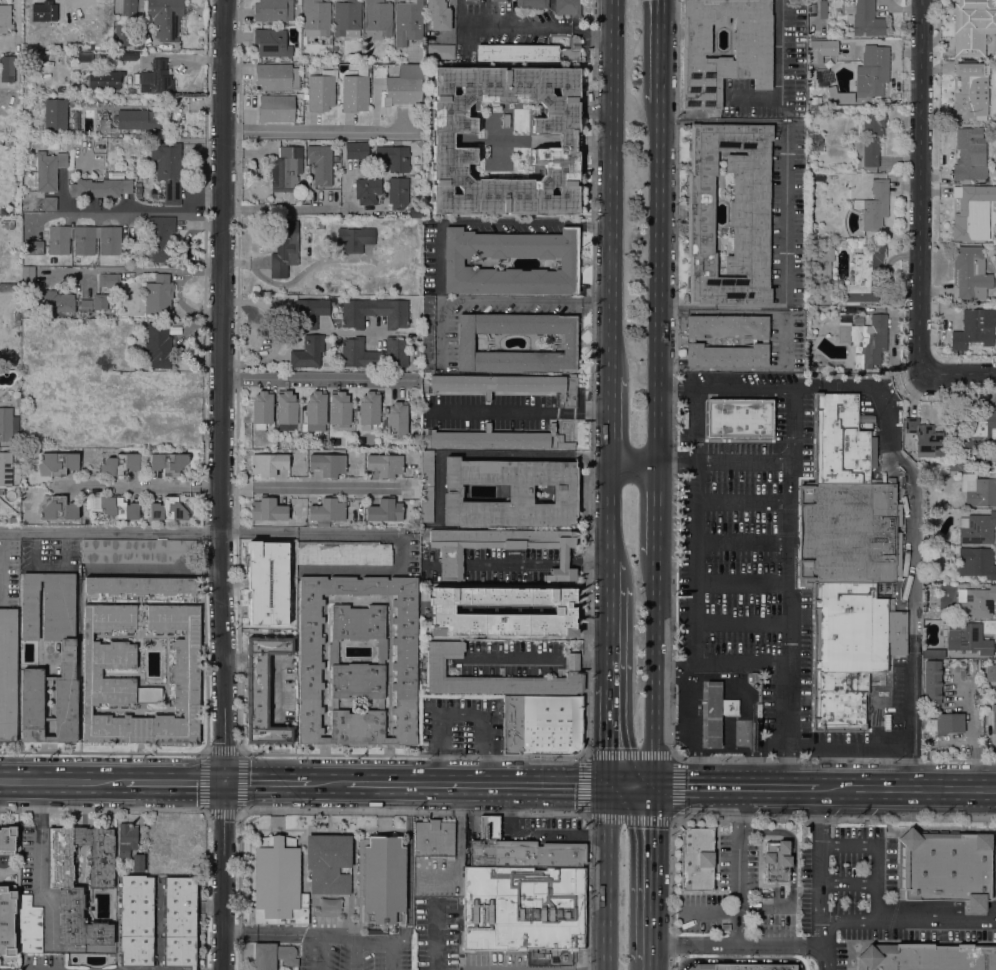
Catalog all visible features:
building: (128, 7)
building: (273, 10)
building: (49, 13)
building: (438, 15)
building: (165, 18)
building: (5, 19)
building: (347, 19)
building: (377, 19)
building: (315, 20)
building: (865, 20)
building: (408, 21)
building: (972, 26)
road: (528, 29)
building: (523, 32)
road: (602, 32)
building: (122, 35)
building: (137, 43)
building: (271, 43)
building: (827, 46)
building: (70, 47)
building: (334, 48)
road: (659, 50)
building: (440, 51)
building: (124, 56)
building: (84, 57)
building: (752, 57)
building: (9, 67)
building: (811, 67)
parking lot: (775, 70)
building: (871, 71)
road: (777, 75)
building: (276, 77)
building: (156, 78)
building: (104, 79)
building: (75, 87)
building: (403, 89)
building: (130, 91)
building: (321, 91)
building: (355, 91)
building: (970, 91)
building: (838, 98)
building: (275, 109)
building: (55, 115)
building: (137, 119)
road: (723, 121)
building: (104, 127)
road: (323, 132)
building: (871, 136)
building: (442, 140)
building: (814, 141)
building: (64, 144)
building: (356, 150)
building: (969, 155)
building: (394, 157)
building: (320, 164)
building: (168, 169)
building: (286, 169)
building: (48, 170)
building: (818, 177)
building: (100, 188)
road: (612, 188)
road: (922, 188)
building: (367, 190)
building: (50, 193)
building: (397, 193)
building: (49, 203)
building: (875, 206)
road: (300, 210)
road: (712, 210)
building: (414, 212)
building: (687, 213)
road: (694, 213)
building: (748, 213)
parking lot: (786, 213)
building: (973, 213)
road: (786, 214)
road: (130, 215)
road: (204, 222)
road: (492, 222)
building: (354, 239)
building: (83, 240)
building: (160, 240)
building: (32, 247)
building: (284, 248)
building: (16, 251)
building: (453, 262)
building: (823, 263)
road: (135, 270)
building: (971, 273)
building: (865, 274)
building: (27, 277)
building: (109, 280)
road: (658, 281)
building: (7, 287)
building: (158, 295)
building: (55, 300)
building: (93, 303)
road: (721, 306)
road: (184, 308)
building: (310, 312)
building: (374, 312)
road: (721, 313)
building: (16, 316)
building: (858, 321)
building: (16, 323)
building: (686, 325)
building: (726, 326)
building: (974, 329)
building: (427, 333)
building: (866, 339)
building: (690, 341)
road: (691, 341)
road: (707, 341)
road: (753, 341)
building: (764, 341)
parking lot: (784, 341)
road: (785, 341)
building: (465, 342)
building: (158, 345)
building: (308, 352)
building: (374, 353)
building: (726, 355)
building: (766, 356)
road: (720, 369)
road: (959, 377)
road: (320, 381)
building: (498, 384)
road: (805, 386)
road: (724, 390)
building: (570, 391)
building: (575, 393)
building: (816, 402)
building: (262, 407)
building: (286, 408)
building: (315, 408)
building: (339, 408)
building: (369, 408)
parking lot: (498, 411)
road: (518, 412)
building: (396, 418)
road: (610, 418)
building: (732, 418)
building: (764, 418)
building: (8, 425)
road: (794, 427)
building: (978, 429)
road: (677, 437)
building: (494, 438)
road: (691, 438)
building: (925, 438)
road: (738, 441)
road: (793, 441)
road: (815, 441)
building: (843, 441)
building: (574, 444)
building: (564, 445)
road: (731, 447)
building: (816, 447)
road: (633, 461)
road: (723, 462)
building: (57, 463)
building: (168, 463)
building: (119, 464)
building: (268, 464)
building: (328, 464)
building: (385, 465)
building: (957, 466)
building: (5, 468)
building: (902, 479)
road: (225, 485)
road: (140, 486)
building: (426, 486)
road: (313, 487)
building: (978, 490)
building: (2, 491)
building: (509, 493)
road: (743, 501)
building: (115, 507)
road: (656, 508)
building: (59, 509)
building: (267, 509)
building: (167, 510)
building: (327, 510)
building: (384, 511)
road: (787, 511)
building: (13, 520)
road: (609, 523)
road: (912, 524)
road: (696, 526)
building: (977, 528)
road: (201, 531)
building: (800, 531)
building: (808, 533)
road: (786, 534)
road: (674, 538)
road: (743, 541)
building: (137, 551)
building: (342, 553)
building: (451, 558)
building: (976, 562)
parking lot: (755, 563)
road: (774, 563)
road: (2, 566)
road: (742, 582)
building: (266, 583)
building: (140, 585)
road: (806, 585)
building: (976, 602)
building: (859, 607)
building: (563, 611)
road: (742, 623)
road: (789, 625)
road: (609, 635)
building: (814, 635)
building: (965, 637)
building: (933, 653)
building: (66, 654)
building: (309, 661)
road: (721, 663)
building: (435, 665)
building: (972, 667)
road: (654, 671)
building: (990, 672)
building: (8, 673)
building: (185, 673)
building: (754, 677)
building: (931, 682)
road: (737, 684)
building: (263, 690)
building: (729, 707)
building: (758, 711)
road: (464, 714)
gas station: (717, 714)
building: (993, 718)
building: (886, 721)
building: (944, 723)
building: (540, 725)
road: (674, 732)
road: (694, 734)
road: (608, 735)
road: (872, 743)
road: (801, 748)
road: (242, 752)
road: (416, 755)
road: (588, 755)
road: (675, 756)
road: (872, 758)
road: (674, 760)
road: (908, 763)
road: (752, 767)
road: (439, 769)
road: (488, 770)
road: (38, 776)
road: (102, 782)
road: (176, 782)
traffic signals: (227, 783)
road: (267, 783)
road: (326, 783)
road: (476, 785)
road: (38, 786)
traffic signals: (608, 786)
road: (631, 786)
traffic signals: (654, 787)
road: (696, 787)
road: (779, 787)
road: (908, 789)
road: (238, 810)
road: (240, 814)
road: (413, 814)
road: (586, 816)
road: (675, 821)
road: (762, 821)
road: (277, 824)
road: (328, 824)
road: (384, 825)
road: (277, 830)
building: (434, 839)
building: (7, 840)
building: (126, 840)
building: (402, 843)
road: (793, 846)
building: (521, 850)
road: (876, 855)
building: (696, 858)
building: (776, 862)
building: (137, 863)
building: (328, 863)
road: (409, 867)
road: (738, 867)
building: (945, 867)
road: (352, 868)
road: (37, 869)
road: (821, 869)
building: (361, 874)
road: (653, 875)
road: (607, 877)
parking lot: (995, 879)
building: (383, 881)
building: (278, 883)
road: (848, 885)
building: (68, 887)
parking lot: (817, 890)
building: (523, 909)
road: (765, 909)
road: (709, 914)
building: (7, 920)
building: (137, 920)
building: (180, 921)
road: (908, 921)
building: (30, 926)
building: (725, 927)
road: (435, 934)
road: (264, 935)
road: (347, 941)
road: (747, 947)
parking lot: (826, 953)
building: (273, 955)
road: (321, 955)
road: (356, 955)
road: (392, 955)
building: (927, 957)
road: (740, 960)
road: (652, 966)
building: (742, 967)

